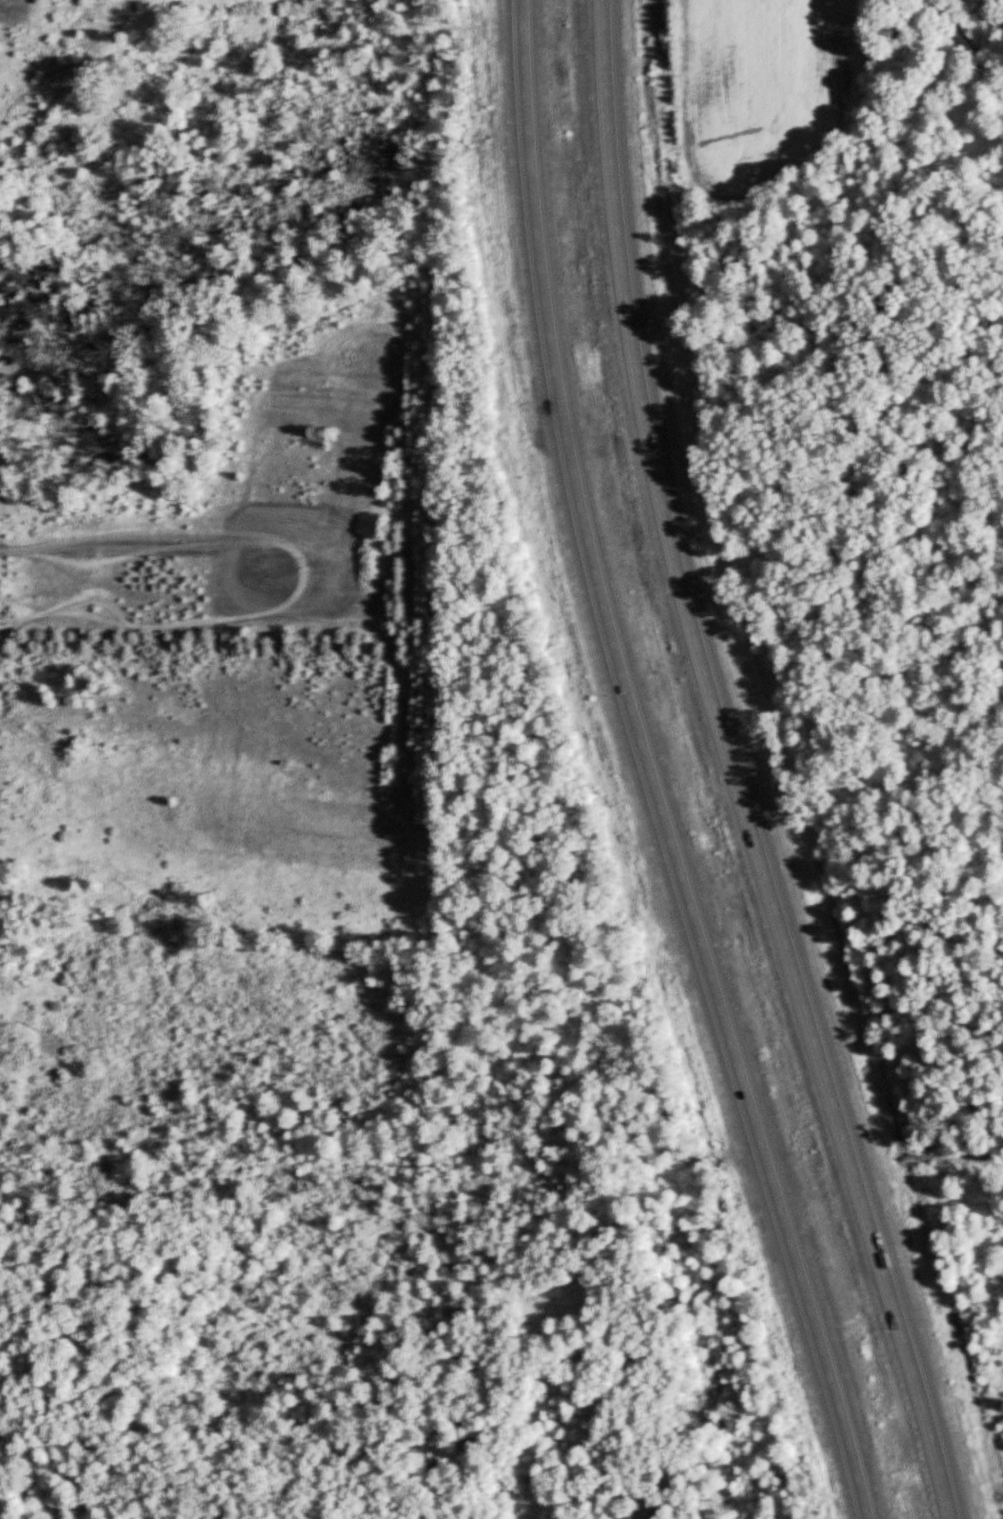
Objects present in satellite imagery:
road: (739, 767)
road: (653, 768)

